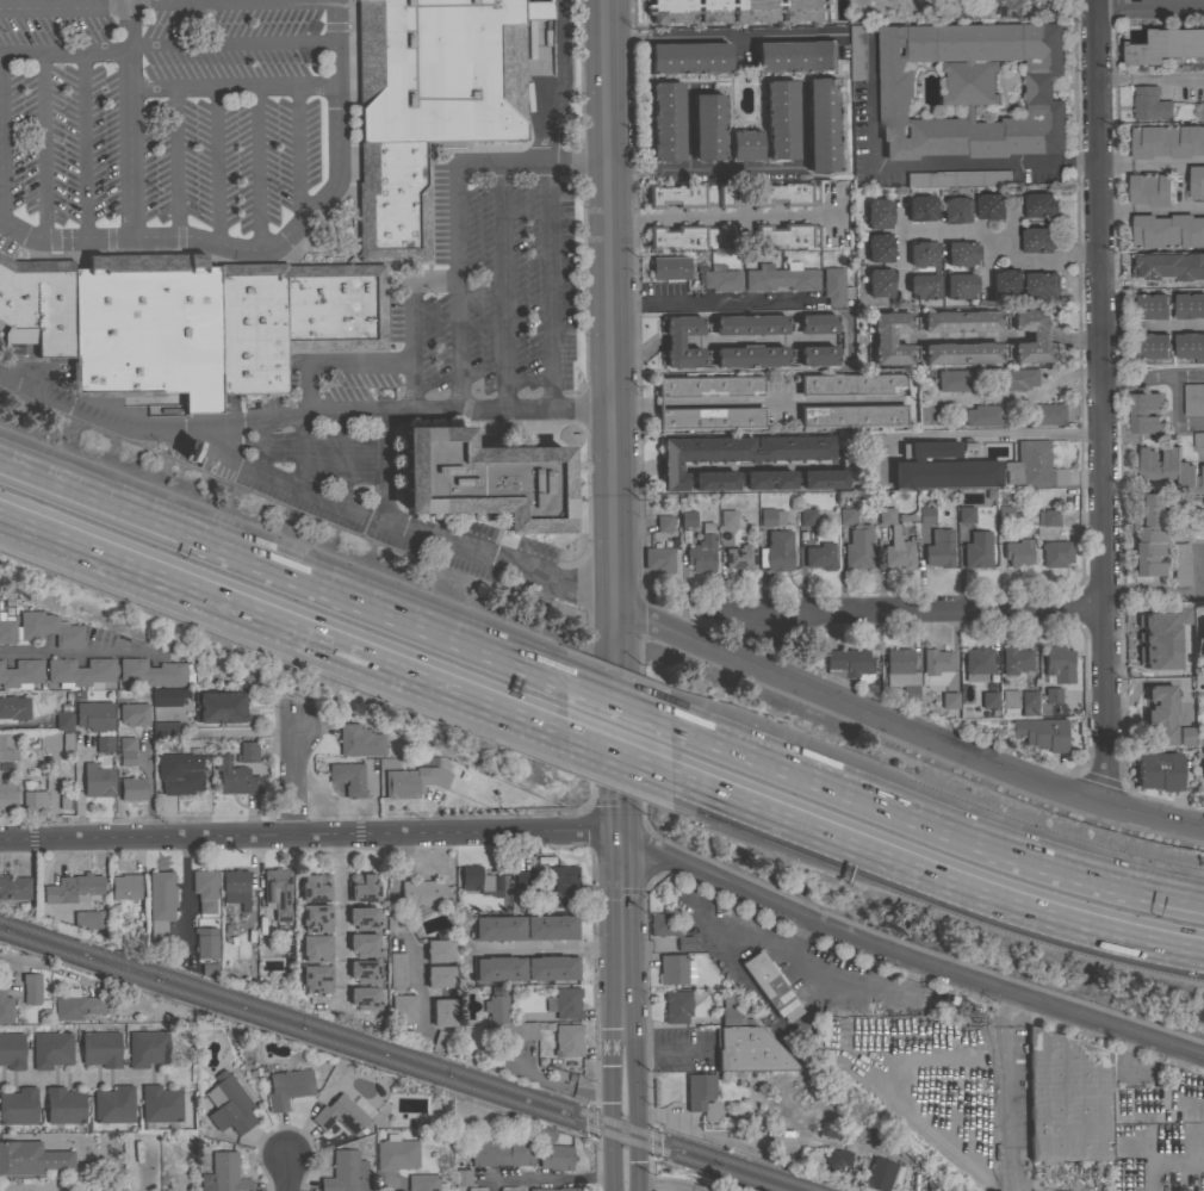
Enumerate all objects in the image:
road: (123, 2)
road: (131, 2)
road: (212, 2)
road: (1150, 4)
road: (63, 6)
building: (1010, 8)
building: (966, 10)
building: (734, 11)
road: (726, 33)
road: (230, 42)
building: (1167, 46)
road: (63, 51)
building: (854, 54)
building: (795, 55)
building: (688, 57)
building: (442, 68)
road: (1150, 77)
road: (231, 85)
building: (970, 88)
building: (1149, 104)
building: (780, 118)
road: (129, 119)
building: (665, 119)
parking lot: (168, 123)
building: (823, 123)
building: (708, 125)
building: (1167, 141)
road: (44, 144)
road: (83, 144)
building: (744, 144)
road: (298, 150)
road: (175, 160)
road: (581, 162)
road: (926, 162)
road: (216, 163)
road: (256, 166)
road: (1152, 167)
road: (716, 170)
building: (957, 178)
building: (1197, 182)
building: (1149, 191)
building: (786, 193)
building: (690, 194)
road: (579, 199)
building: (392, 201)
road: (548, 201)
building: (1039, 205)
building: (920, 206)
building: (989, 206)
building: (956, 207)
building: (877, 212)
road: (1152, 212)
road: (720, 216)
building: (1167, 231)
building: (786, 234)
building: (690, 236)
building: (1036, 238)
road: (457, 243)
road: (268, 244)
building: (879, 247)
road: (1004, 247)
building: (923, 253)
building: (960, 254)
road: (299, 258)
building: (669, 267)
building: (1165, 275)
building: (781, 277)
building: (721, 278)
building: (879, 281)
building: (1005, 283)
building: (1041, 284)
road: (502, 285)
building: (960, 285)
building: (834, 286)
building: (923, 286)
road: (1076, 297)
building: (39, 302)
road: (633, 302)
road: (715, 303)
building: (1189, 305)
building: (1149, 308)
building: (293, 317)
road: (411, 324)
road: (1153, 327)
building: (147, 328)
building: (19, 335)
building: (1039, 337)
building: (674, 340)
building: (1150, 347)
building: (1190, 347)
road: (334, 362)
road: (1190, 377)
building: (1017, 378)
building: (955, 379)
road: (1138, 382)
building: (851, 384)
building: (710, 385)
road: (1019, 396)
building: (1193, 398)
road: (758, 401)
parking lot: (781, 402)
road: (1101, 403)
road: (392, 411)
building: (1144, 412)
building: (1044, 414)
road: (1177, 414)
building: (983, 415)
road: (85, 416)
building: (851, 416)
building: (709, 417)
road: (527, 422)
building: (1198, 440)
road: (261, 447)
road: (299, 451)
road: (339, 458)
building: (721, 461)
road: (380, 465)
building: (1032, 465)
building: (942, 467)
building: (1171, 470)
building: (484, 479)
road: (362, 513)
road: (616, 513)
building: (1004, 513)
building: (806, 514)
building: (925, 514)
building: (964, 514)
building: (770, 516)
building: (845, 516)
building: (687, 517)
building: (727, 517)
building: (1047, 517)
building: (663, 522)
building: (1149, 533)
building: (895, 541)
building: (858, 547)
building: (938, 547)
building: (702, 550)
building: (776, 550)
building: (976, 550)
building: (1018, 552)
building: (1055, 552)
building: (819, 556)
building: (740, 557)
building: (658, 559)
road: (281, 563)
building: (1180, 564)
road: (587, 581)
road: (1154, 594)
road: (587, 595)
road: (908, 608)
road: (281, 615)
building: (1131, 615)
building: (1181, 616)
road: (643, 619)
building: (1162, 621)
building: (39, 628)
road: (587, 635)
building: (1202, 639)
road: (639, 651)
road: (46, 655)
building: (1014, 660)
building: (850, 663)
building: (976, 663)
building: (1057, 663)
building: (936, 666)
building: (80, 672)
building: (154, 672)
building: (902, 672)
building: (20, 674)
building: (1161, 688)
road: (614, 694)
building: (1053, 694)
building: (167, 696)
building: (949, 699)
building: (988, 699)
building: (1010, 702)
building: (1028, 702)
road: (1084, 706)
building: (14, 707)
building: (219, 707)
building: (134, 713)
building: (94, 714)
building: (1154, 715)
building: (63, 720)
building: (1175, 727)
building: (166, 730)
road: (905, 732)
building: (1041, 732)
building: (48, 739)
building: (360, 740)
road: (616, 743)
building: (104, 744)
building: (8, 746)
building: (125, 751)
building: (248, 751)
building: (1203, 761)
building: (1158, 770)
building: (178, 774)
building: (235, 776)
building: (347, 777)
road: (299, 779)
building: (97, 780)
building: (406, 781)
building: (132, 788)
building: (7, 796)
building: (35, 801)
building: (66, 804)
road: (585, 807)
road: (930, 819)
road: (643, 823)
road: (310, 835)
road: (932, 868)
road: (675, 874)
building: (482, 880)
building: (520, 881)
building: (125, 886)
building: (362, 886)
building: (564, 886)
building: (14, 887)
building: (72, 887)
building: (235, 887)
building: (316, 887)
building: (205, 888)
building: (421, 893)
building: (278, 895)
road: (184, 897)
building: (161, 902)
building: (316, 917)
building: (364, 917)
road: (339, 918)
building: (86, 919)
building: (525, 926)
road: (800, 928)
building: (669, 929)
road: (397, 931)
building: (205, 942)
building: (364, 944)
road: (534, 945)
building: (664, 945)
building: (316, 948)
building: (439, 949)
road: (467, 955)
road: (908, 961)
building: (525, 967)
building: (672, 968)
building: (204, 969)
building: (397, 969)
building: (366, 970)
road: (912, 972)
building: (439, 975)
building: (317, 978)
building: (770, 986)
building: (31, 987)
building: (365, 997)
building: (564, 1001)
building: (76, 1005)
building: (5, 1006)
building: (677, 1006)
building: (403, 1007)
building: (442, 1011)
building: (730, 1011)
building: (504, 1018)
road: (652, 1026)
building: (567, 1038)
building: (441, 1041)
building: (147, 1047)
building: (51, 1048)
building: (100, 1048)
building: (12, 1050)
building: (749, 1050)
parking lot: (682, 1052)
railway: (408, 1055)
railway: (392, 1060)
building: (947, 1073)
road: (81, 1075)
road: (610, 1080)
road: (1006, 1080)
building: (288, 1086)
building: (702, 1096)
building: (1067, 1098)
road: (632, 1102)
building: (113, 1104)
building: (229, 1104)
building: (18, 1105)
building: (64, 1105)
building: (160, 1106)
building: (340, 1114)
road: (694, 1129)
building: (396, 1153)
building: (501, 1153)
building: (554, 1156)
road: (612, 1156)
building: (31, 1158)
building: (836, 1159)
building: (347, 1172)
building: (224, 1173)
building: (883, 1173)
road: (284, 1176)
road: (546, 1176)
building: (463, 1177)
road: (1007, 1177)
building: (423, 1181)
road: (613, 1183)
road: (659, 1183)
building: (114, 1184)
road: (389, 1185)
road: (633, 1186)
building: (476, 1189)
building: (509, 1189)
building: (556, 1189)

